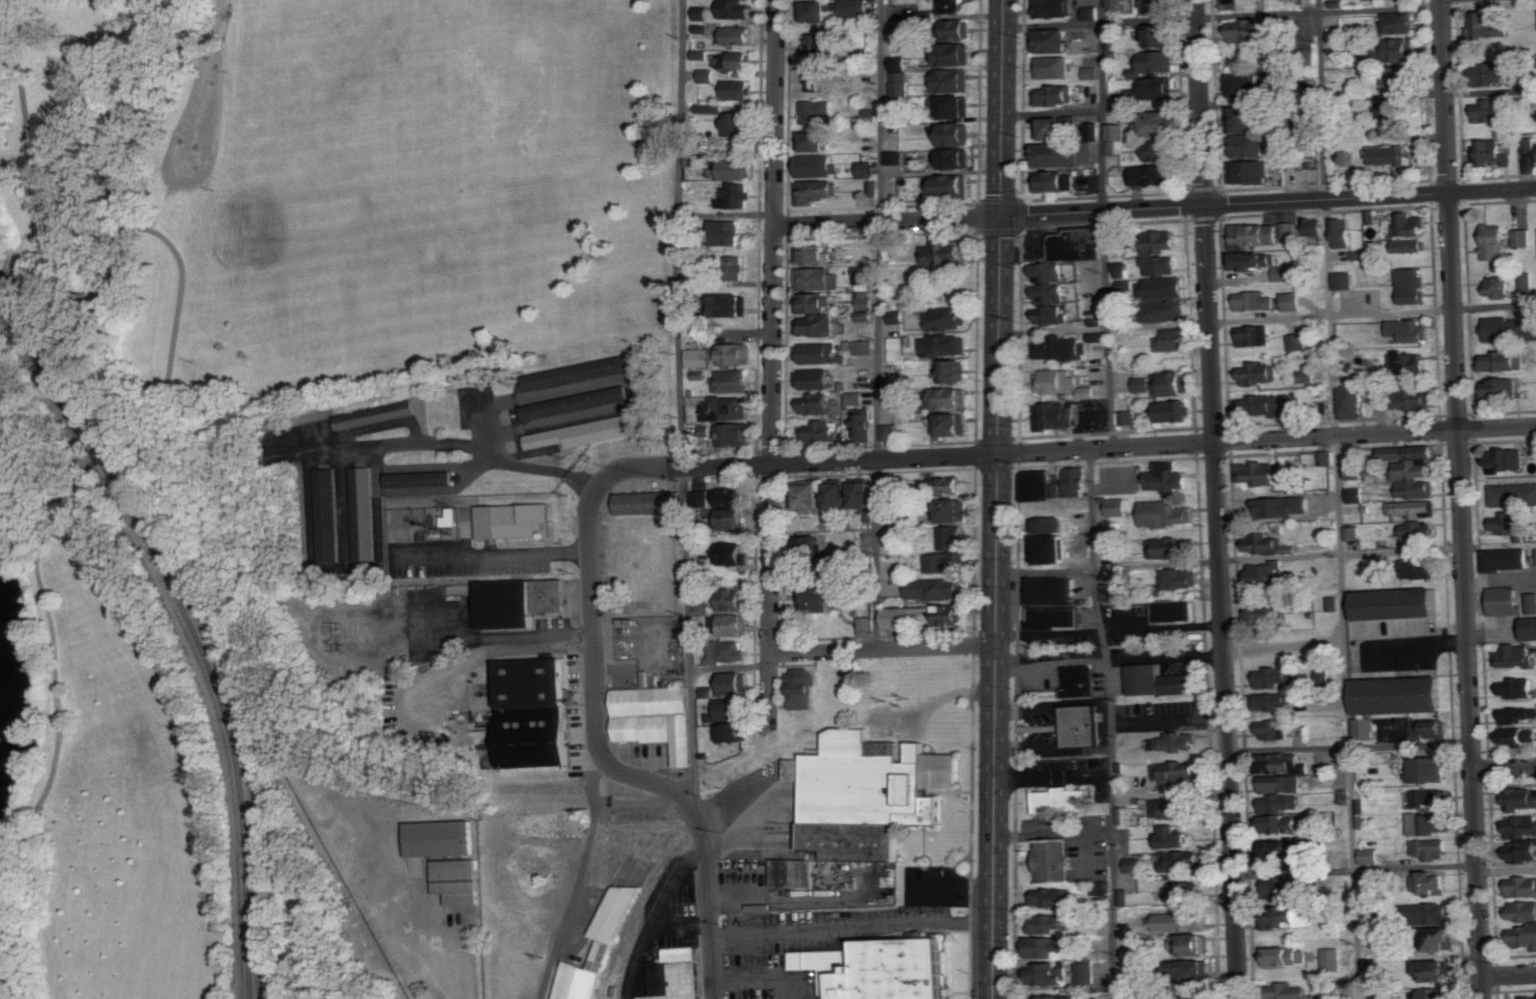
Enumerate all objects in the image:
building: (1242, 4)
building: (952, 6)
building: (1157, 6)
building: (854, 8)
building: (1055, 8)
building: (737, 9)
building: (816, 11)
building: (702, 13)
building: (1092, 13)
road: (1222, 15)
building: (1401, 23)
building: (1492, 25)
building: (908, 29)
building: (961, 30)
building: (1253, 30)
building: (738, 36)
building: (1158, 36)
building: (1051, 41)
building: (819, 46)
building: (1402, 50)
building: (957, 55)
building: (741, 60)
building: (1155, 63)
building: (900, 64)
building: (1055, 68)
building: (1091, 73)
building: (707, 76)
building: (1401, 77)
building: (820, 80)
building: (956, 81)
building: (901, 85)
building: (1245, 86)
building: (1160, 88)
building: (737, 90)
road: (211, 95)
building: (1056, 96)
road: (1368, 96)
road: (1200, 102)
building: (956, 107)
road: (882, 110)
building: (1385, 110)
building: (816, 111)
building: (1491, 111)
road: (1052, 112)
building: (869, 116)
building: (1246, 120)
building: (1155, 123)
building: (738, 124)
building: (1052, 129)
building: (957, 134)
building: (818, 141)
building: (1531, 145)
building: (1251, 146)
building: (1111, 148)
building: (1163, 150)
building: (1063, 155)
building: (1393, 155)
building: (895, 158)
building: (957, 158)
building: (819, 166)
building: (738, 170)
building: (867, 170)
building: (1251, 172)
building: (1153, 175)
building: (948, 187)
building: (817, 191)
building: (738, 195)
road: (1268, 201)
traffic signals: (1001, 216)
road: (887, 220)
road: (1103, 224)
building: (1411, 227)
building: (1316, 228)
building: (1290, 230)
building: (728, 233)
building: (1344, 233)
building: (1256, 234)
building: (1522, 238)
road: (168, 241)
building: (1160, 242)
building: (1495, 242)
building: (1080, 245)
building: (1411, 246)
building: (818, 254)
building: (946, 255)
building: (1254, 261)
building: (1161, 266)
building: (734, 268)
building: (1050, 272)
building: (1283, 274)
building: (818, 279)
building: (1528, 280)
building: (1346, 281)
building: (1414, 286)
building: (1127, 287)
building: (1498, 287)
building: (1163, 288)
building: (1051, 294)
building: (1293, 301)
building: (1255, 302)
building: (814, 303)
building: (731, 305)
building: (864, 306)
building: (1168, 311)
building: (1053, 315)
building: (897, 317)
road: (1267, 318)
building: (950, 319)
building: (819, 325)
building: (1531, 326)
building: (1410, 330)
building: (1504, 330)
building: (1255, 336)
building: (1174, 340)
building: (1297, 343)
building: (948, 345)
building: (864, 348)
building: (1065, 348)
building: (897, 349)
building: (820, 353)
building: (719, 356)
park: (257, 357)
building: (1505, 362)
building: (1407, 363)
road: (773, 365)
building: (579, 371)
building: (954, 372)
building: (1258, 374)
building: (1306, 377)
building: (815, 379)
building: (733, 381)
building: (1064, 384)
building: (1172, 384)
building: (1143, 385)
building: (1504, 389)
building: (1418, 397)
building: (857, 398)
building: (895, 398)
building: (955, 398)
building: (573, 402)
building: (1352, 403)
building: (818, 404)
road: (681, 405)
building: (1264, 408)
building: (729, 409)
building: (1175, 412)
building: (373, 415)
building: (1057, 416)
building: (1128, 418)
building: (951, 425)
building: (865, 426)
railway: (94, 430)
building: (585, 432)
building: (820, 432)
building: (889, 433)
building: (736, 435)
road: (877, 435)
road: (472, 442)
road: (1074, 450)
building: (1313, 459)
building: (1508, 461)
building: (1412, 462)
building: (1260, 474)
building: (417, 479)
building: (1169, 479)
building: (1077, 483)
building: (951, 486)
building: (1040, 487)
building: (1419, 489)
building: (892, 491)
building: (1513, 495)
building: (1357, 496)
building: (839, 497)
building: (733, 498)
building: (811, 498)
building: (701, 499)
building: (866, 499)
road: (997, 499)
road: (1337, 499)
road: (1462, 499)
building: (643, 502)
building: (1119, 507)
building: (1414, 509)
building: (954, 511)
building: (362, 513)
building: (325, 514)
building: (1167, 515)
building: (735, 519)
building: (509, 520)
building: (898, 522)
building: (1047, 526)
building: (1514, 526)
building: (1418, 532)
building: (1353, 537)
building: (954, 538)
building: (1270, 545)
road: (1500, 545)
building: (814, 548)
building: (1173, 549)
road: (496, 555)
building: (735, 555)
road: (1230, 560)
building: (1507, 560)
building: (946, 563)
building: (1426, 569)
building: (1266, 574)
building: (1180, 579)
building: (937, 590)
building: (1110, 593)
building: (821, 598)
building: (736, 601)
road: (1220, 602)
building: (1506, 602)
building: (1050, 604)
building: (505, 605)
building: (1397, 605)
building: (1173, 612)
building: (1264, 614)
building: (949, 616)
building: (897, 618)
building: (736, 625)
building: (867, 626)
road: (1108, 630)
building: (1531, 630)
road: (516, 634)
road: (517, 646)
road: (882, 648)
building: (727, 653)
road: (1169, 655)
building: (1516, 657)
road: (730, 667)
building: (1275, 678)
building: (1325, 678)
road: (57, 679)
building: (1079, 682)
building: (1154, 682)
building: (733, 684)
building: (1520, 688)
building: (805, 689)
building: (707, 692)
building: (1402, 696)
river: (7, 702)
building: (1276, 703)
road: (1053, 706)
building: (730, 709)
building: (530, 712)
building: (1519, 716)
building: (656, 719)
road: (1169, 722)
road: (1113, 723)
building: (1080, 726)
building: (1366, 730)
building: (1430, 730)
building: (1275, 731)
building: (734, 734)
building: (1519, 736)
building: (1175, 743)
road: (1349, 746)
road: (1053, 751)
road: (606, 760)
building: (1285, 764)
road: (1505, 768)
building: (1178, 771)
building: (1430, 771)
road: (1054, 777)
building: (1283, 783)
railway: (245, 791)
building: (863, 793)
building: (1428, 796)
building: (1521, 798)
building: (1061, 801)
building: (1283, 802)
building: (1175, 807)
building: (1126, 815)
building: (1285, 823)
building: (1431, 823)
building: (1522, 826)
building: (784, 828)
road: (1062, 835)
building: (1177, 836)
building: (438, 839)
building: (1432, 848)
building: (1523, 850)
building: (1286, 851)
building: (1370, 856)
building: (1179, 860)
building: (1051, 861)
building: (1135, 865)
road: (1354, 868)
road: (1507, 870)
building: (791, 873)
road: (580, 878)
building: (455, 880)
building: (1433, 882)
building: (1284, 885)
building: (1523, 886)
building: (1102, 888)
building: (1181, 892)
building: (1052, 897)
road: (408, 902)
building: (1524, 910)
road: (652, 911)
building: (1433, 913)
building: (1288, 917)
building: (1184, 920)
building: (1049, 923)
road: (853, 928)
building: (1524, 935)
building: (1442, 938)
building: (1196, 943)
building: (1047, 946)
building: (596, 953)
building: (1286, 955)
building: (1333, 959)
building: (1373, 964)
building: (1195, 968)
building: (875, 969)
building: (1438, 969)
building: (1049, 973)
building: (1086, 973)
building: (677, 974)
road: (1509, 974)
building: (1289, 991)
building: (1440, 993)
building: (1197, 995)
building: (1385, 995)
building: (1063, 996)
building: (1529, 996)
building: (1162, 997)

